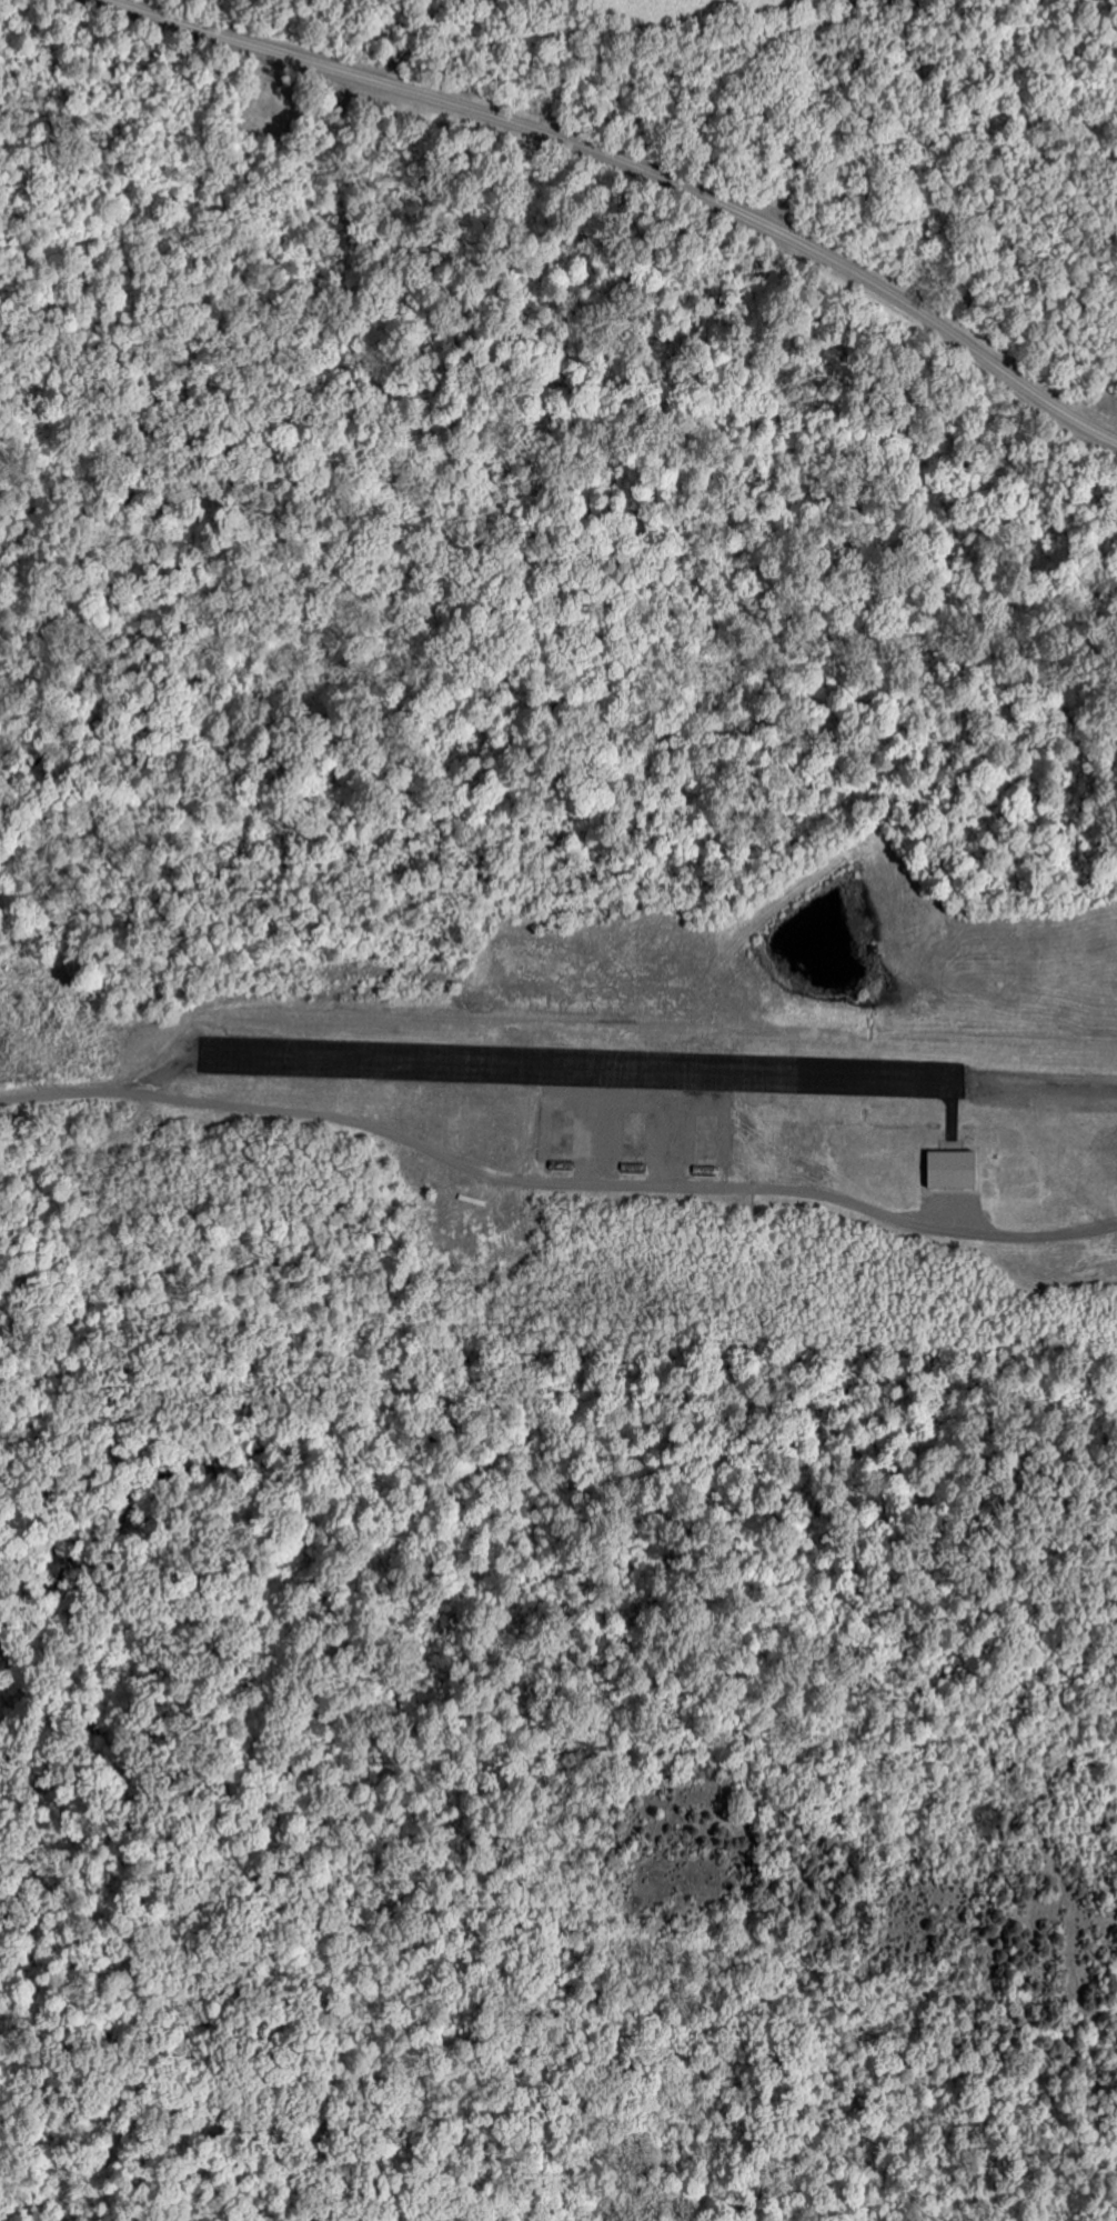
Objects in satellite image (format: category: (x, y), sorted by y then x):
park: (271, 110)
road: (631, 166)
building: (937, 1170)
road: (555, 1189)

